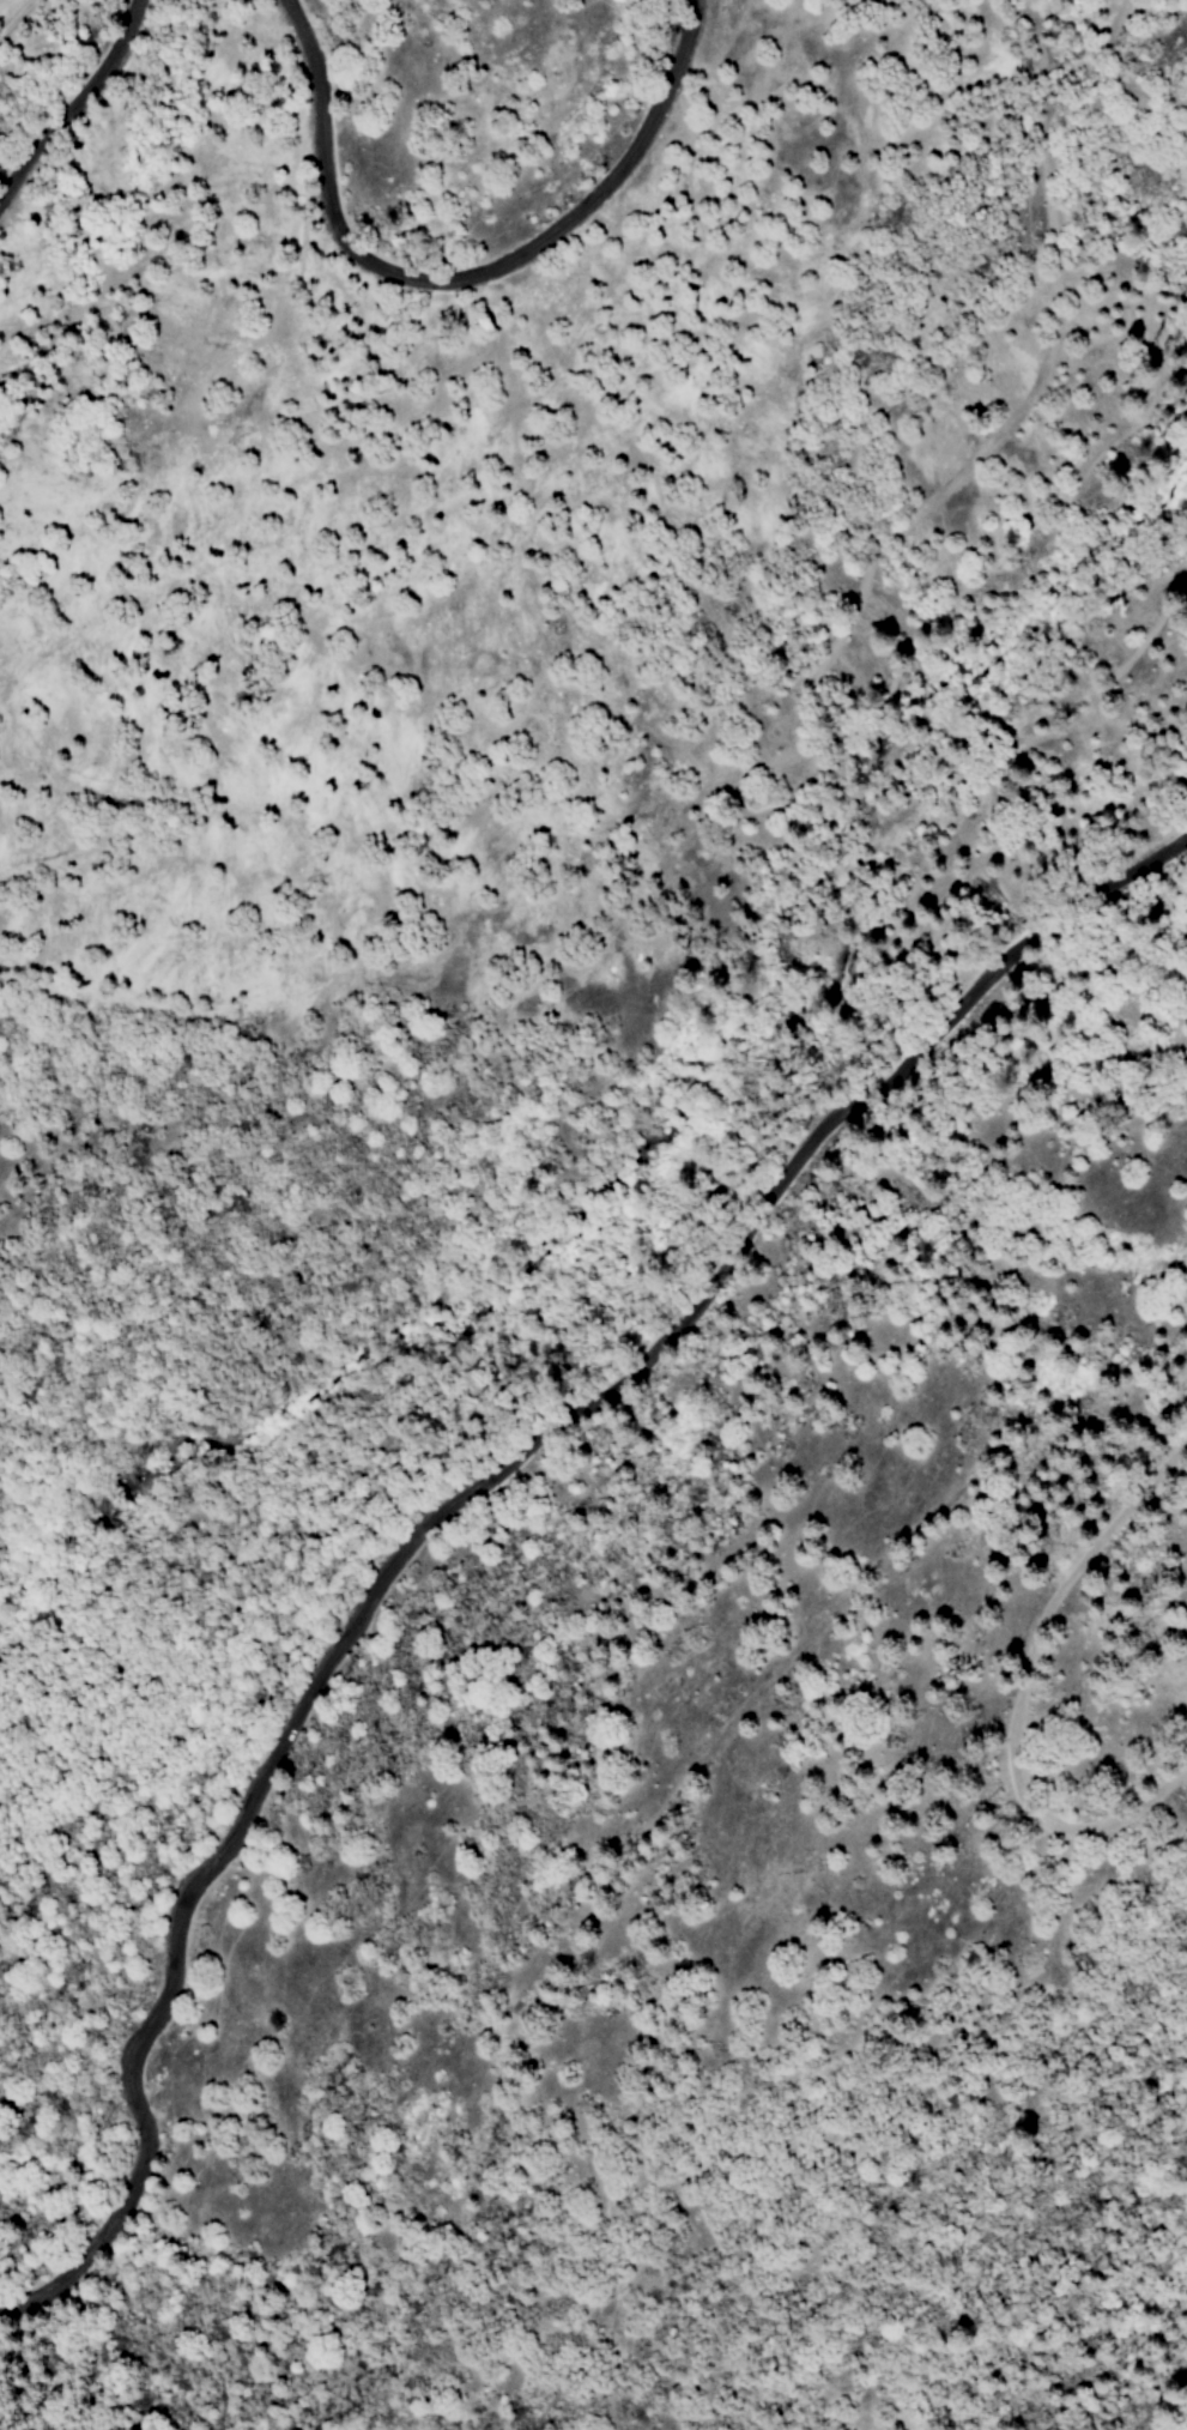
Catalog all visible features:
road: (75, 103)
road: (464, 279)
road: (462, 1494)

